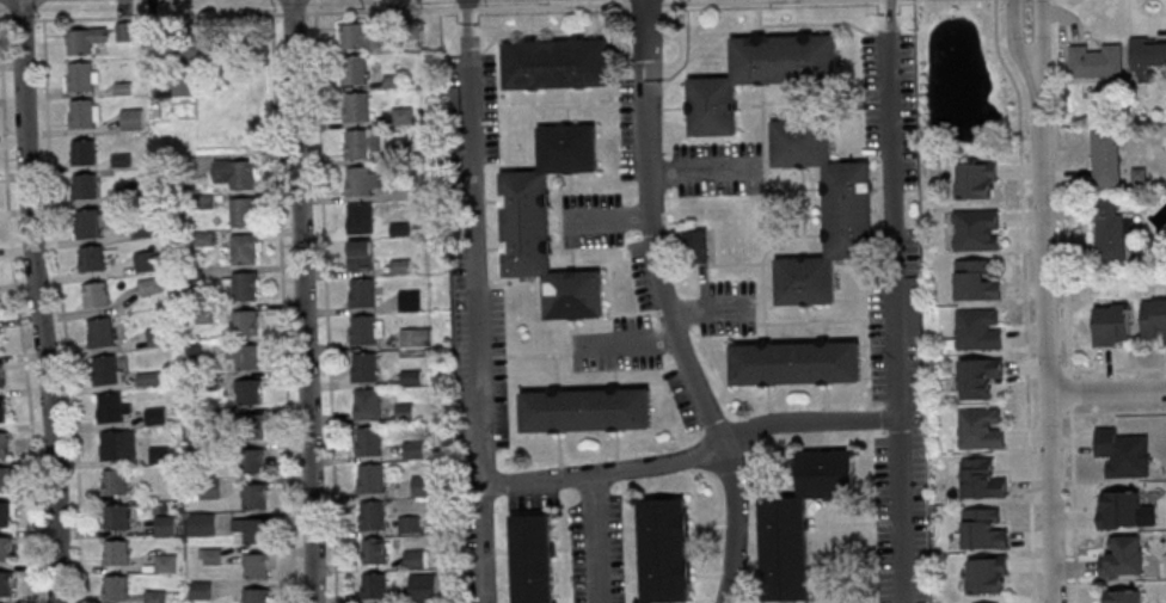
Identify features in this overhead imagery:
road: (741, 1)
road: (644, 4)
road: (552, 6)
road: (889, 6)
road: (466, 8)
road: (380, 11)
road: (291, 13)
road: (467, 13)
road: (155, 17)
road: (4, 19)
road: (19, 19)
building: (124, 31)
building: (357, 37)
building: (82, 41)
road: (1042, 45)
road: (1017, 48)
building: (1148, 54)
building: (1096, 62)
building: (556, 63)
building: (354, 70)
building: (80, 76)
building: (755, 78)
building: (394, 81)
building: (452, 99)
building: (356, 106)
building: (84, 113)
building: (403, 116)
building: (130, 119)
building: (361, 143)
building: (404, 149)
building: (82, 153)
building: (1104, 159)
road: (701, 168)
building: (241, 173)
building: (362, 180)
building: (976, 181)
building: (82, 186)
building: (399, 192)
building: (243, 213)
building: (847, 213)
building: (361, 217)
road: (608, 221)
building: (87, 224)
building: (547, 226)
building: (401, 229)
building: (975, 230)
building: (1110, 232)
building: (695, 246)
building: (244, 248)
building: (361, 254)
building: (91, 259)
building: (143, 261)
building: (400, 266)
building: (975, 281)
building: (148, 287)
building: (245, 287)
building: (362, 291)
building: (96, 295)
road: (39, 301)
road: (305, 301)
building: (410, 301)
road: (326, 307)
road: (667, 307)
road: (896, 307)
building: (913, 307)
road: (283, 308)
road: (711, 308)
road: (63, 310)
road: (478, 315)
building: (1153, 318)
building: (246, 321)
building: (1110, 325)
building: (977, 328)
building: (363, 330)
road: (20, 331)
building: (103, 332)
building: (416, 337)
road: (626, 342)
road: (1025, 343)
road: (1048, 346)
building: (247, 357)
building: (796, 364)
building: (364, 367)
building: (106, 370)
building: (1, 376)
building: (411, 376)
building: (977, 377)
building: (152, 379)
building: (248, 392)
road: (1107, 392)
building: (367, 404)
building: (111, 408)
building: (585, 410)
building: (2, 411)
building: (406, 412)
building: (155, 416)
building: (251, 426)
building: (981, 427)
building: (369, 441)
building: (4, 444)
building: (117, 445)
building: (413, 449)
building: (1122, 454)
building: (159, 455)
road: (693, 456)
building: (252, 460)
building: (372, 478)
building: (981, 479)
building: (5, 480)
building: (113, 481)
building: (423, 486)
building: (254, 496)
building: (1118, 510)
building: (7, 515)
building: (373, 516)
building: (116, 517)
building: (797, 523)
building: (201, 524)
building: (410, 524)
building: (164, 525)
building: (983, 528)
building: (254, 530)
road: (597, 539)
building: (5, 548)
building: (664, 549)
building: (375, 550)
building: (116, 553)
building: (209, 555)
building: (1121, 558)
building: (413, 559)
building: (533, 559)
building: (165, 564)
building: (256, 566)
building: (986, 576)
building: (5, 584)
building: (374, 584)
building: (115, 587)
building: (423, 587)
building: (198, 590)
building: (254, 595)
building: (1121, 596)
building: (155, 597)

